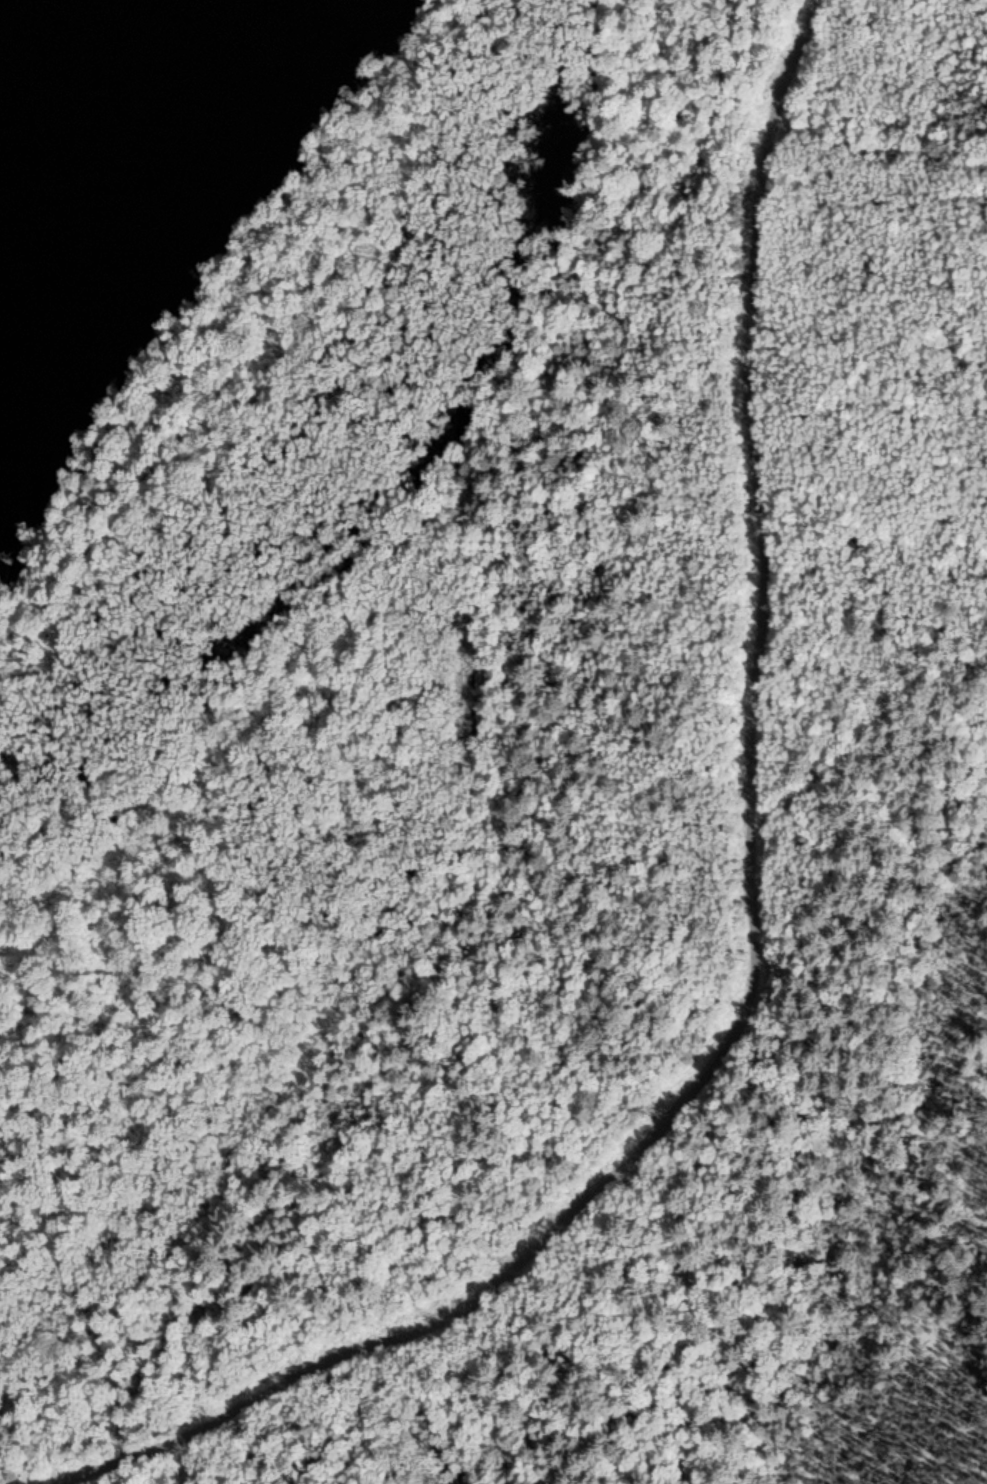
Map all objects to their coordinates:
river: (94, 132)
road: (758, 930)

